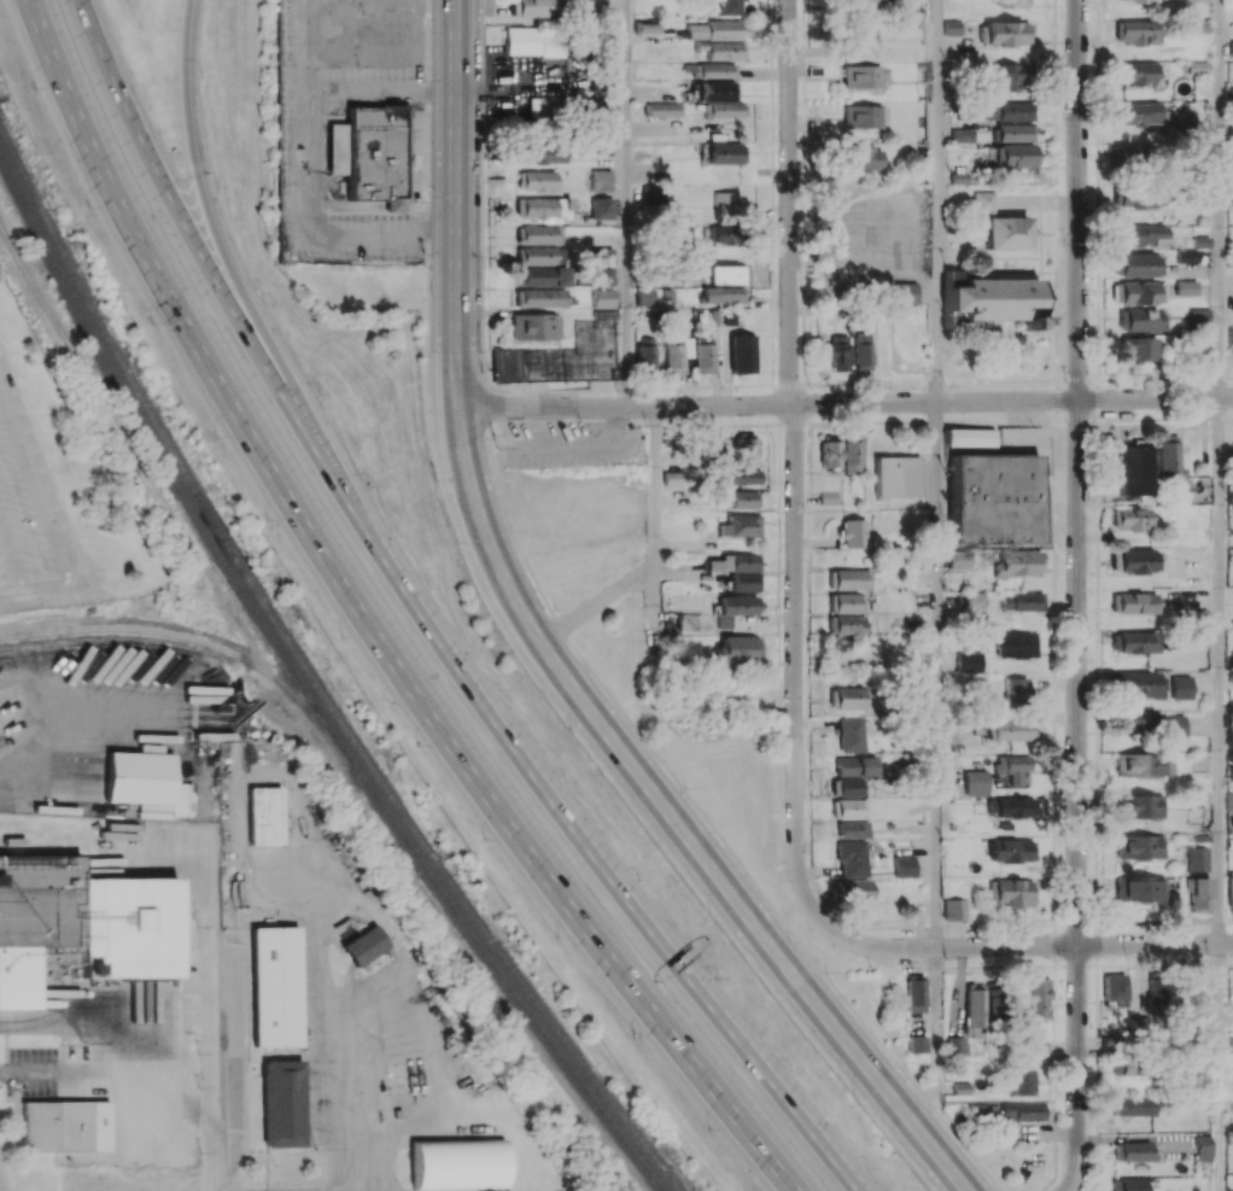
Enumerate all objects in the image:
building: (1134, 0)
building: (866, 1)
building: (1011, 2)
building: (533, 7)
building: (727, 7)
building: (952, 27)
building: (723, 29)
building: (695, 31)
building: (1138, 31)
building: (1006, 33)
building: (536, 41)
building: (859, 41)
building: (1231, 48)
building: (725, 49)
road: (306, 52)
building: (1198, 68)
building: (712, 70)
building: (1138, 72)
building: (861, 76)
building: (1004, 77)
road: (386, 91)
building: (712, 91)
building: (544, 106)
building: (662, 109)
building: (725, 109)
building: (1006, 111)
building: (1140, 113)
building: (861, 116)
building: (1013, 132)
building: (959, 135)
building: (542, 153)
building: (726, 153)
building: (1012, 154)
building: (1135, 157)
building: (865, 158)
building: (536, 180)
building: (600, 180)
building: (1138, 195)
road: (1221, 198)
road: (941, 200)
building: (982, 200)
road: (627, 204)
building: (725, 206)
building: (542, 208)
building: (601, 208)
road: (315, 227)
building: (1006, 233)
building: (539, 234)
building: (723, 234)
building: (1139, 234)
road: (197, 249)
road: (223, 253)
building: (540, 255)
building: (1186, 256)
building: (1136, 264)
building: (603, 267)
building: (726, 274)
building: (542, 276)
building: (1186, 287)
building: (905, 292)
building: (724, 294)
building: (540, 297)
building: (602, 297)
building: (649, 297)
building: (991, 298)
building: (1199, 317)
building: (1139, 319)
building: (536, 326)
railway: (30, 328)
road: (456, 331)
building: (1138, 349)
building: (863, 350)
building: (837, 352)
building: (645, 354)
building: (676, 354)
building: (742, 354)
building: (566, 355)
building: (705, 357)
road: (845, 402)
building: (969, 437)
building: (744, 450)
building: (830, 454)
building: (852, 456)
building: (1168, 461)
road: (795, 463)
building: (1134, 469)
road: (1077, 472)
building: (895, 475)
building: (744, 477)
building: (677, 478)
road: (36, 485)
building: (742, 498)
building: (991, 498)
parking lot: (30, 508)
building: (1130, 519)
building: (741, 525)
building: (853, 532)
road: (658, 537)
road: (11, 554)
building: (954, 559)
building: (1134, 560)
building: (1016, 564)
building: (738, 570)
building: (849, 579)
road: (36, 584)
building: (969, 599)
building: (1019, 601)
building: (846, 602)
building: (1134, 602)
road: (598, 607)
building: (735, 608)
building: (689, 621)
road: (366, 623)
building: (847, 624)
railway: (203, 642)
building: (1134, 642)
building: (1016, 644)
building: (738, 649)
building: (968, 661)
road: (1222, 670)
railway: (310, 673)
road: (940, 675)
building: (1138, 683)
railway: (304, 687)
building: (1182, 687)
building: (1016, 688)
building: (848, 697)
building: (1136, 722)
road: (60, 724)
road: (115, 724)
building: (1174, 725)
building: (1012, 730)
building: (852, 735)
building: (863, 765)
building: (1139, 765)
building: (1011, 766)
building: (975, 781)
building: (848, 787)
building: (1138, 805)
building: (1010, 806)
building: (851, 808)
building: (264, 816)
building: (852, 829)
building: (1139, 846)
road: (584, 847)
building: (1012, 850)
building: (849, 858)
building: (1197, 858)
building: (902, 865)
building: (1139, 888)
building: (854, 891)
building: (1015, 892)
building: (1229, 892)
building: (1199, 894)
building: (954, 909)
road: (752, 919)
building: (82, 923)
road: (1155, 942)
building: (364, 945)
road: (946, 946)
road: (472, 947)
building: (274, 986)
building: (1115, 988)
building: (1200, 991)
building: (914, 996)
building: (1038, 997)
building: (974, 1010)
building: (1140, 1024)
road: (939, 1038)
building: (916, 1044)
building: (1229, 1044)
building: (956, 1045)
building: (1039, 1046)
road: (211, 1047)
road: (111, 1053)
building: (1132, 1066)
road: (1222, 1067)
road: (1077, 1068)
building: (1023, 1081)
building: (962, 1087)
building: (281, 1103)
road: (358, 1104)
building: (1133, 1105)
building: (1022, 1111)
building: (55, 1126)
building: (1033, 1133)
building: (1203, 1148)
building: (1132, 1150)
building: (1134, 1184)

